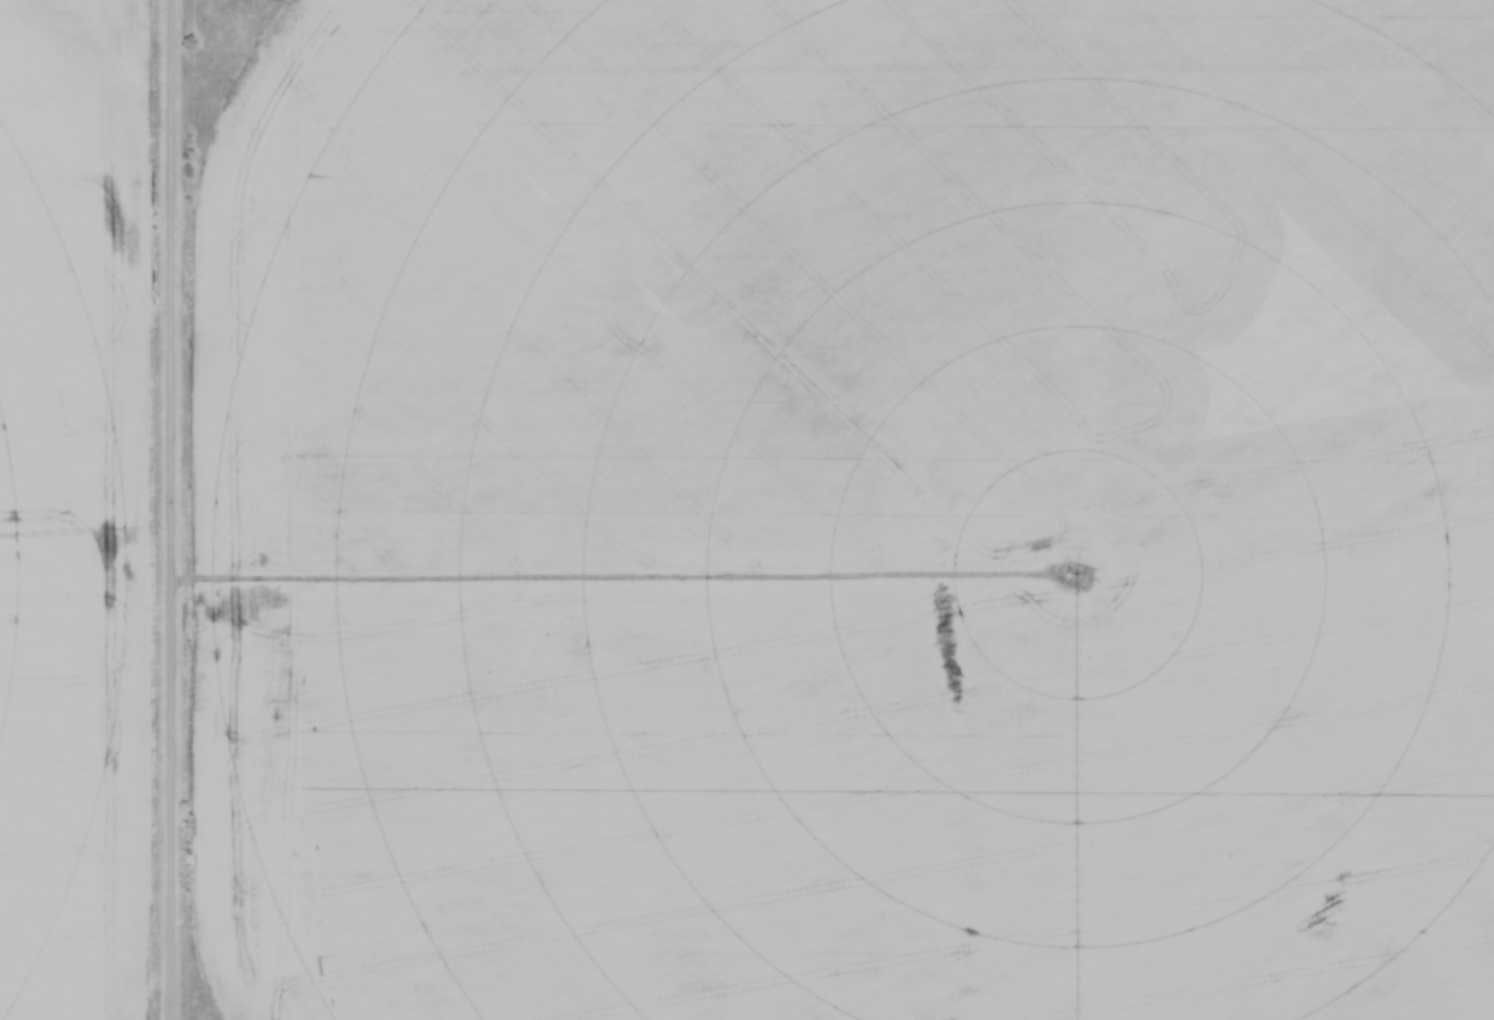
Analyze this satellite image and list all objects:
road: (169, 509)

